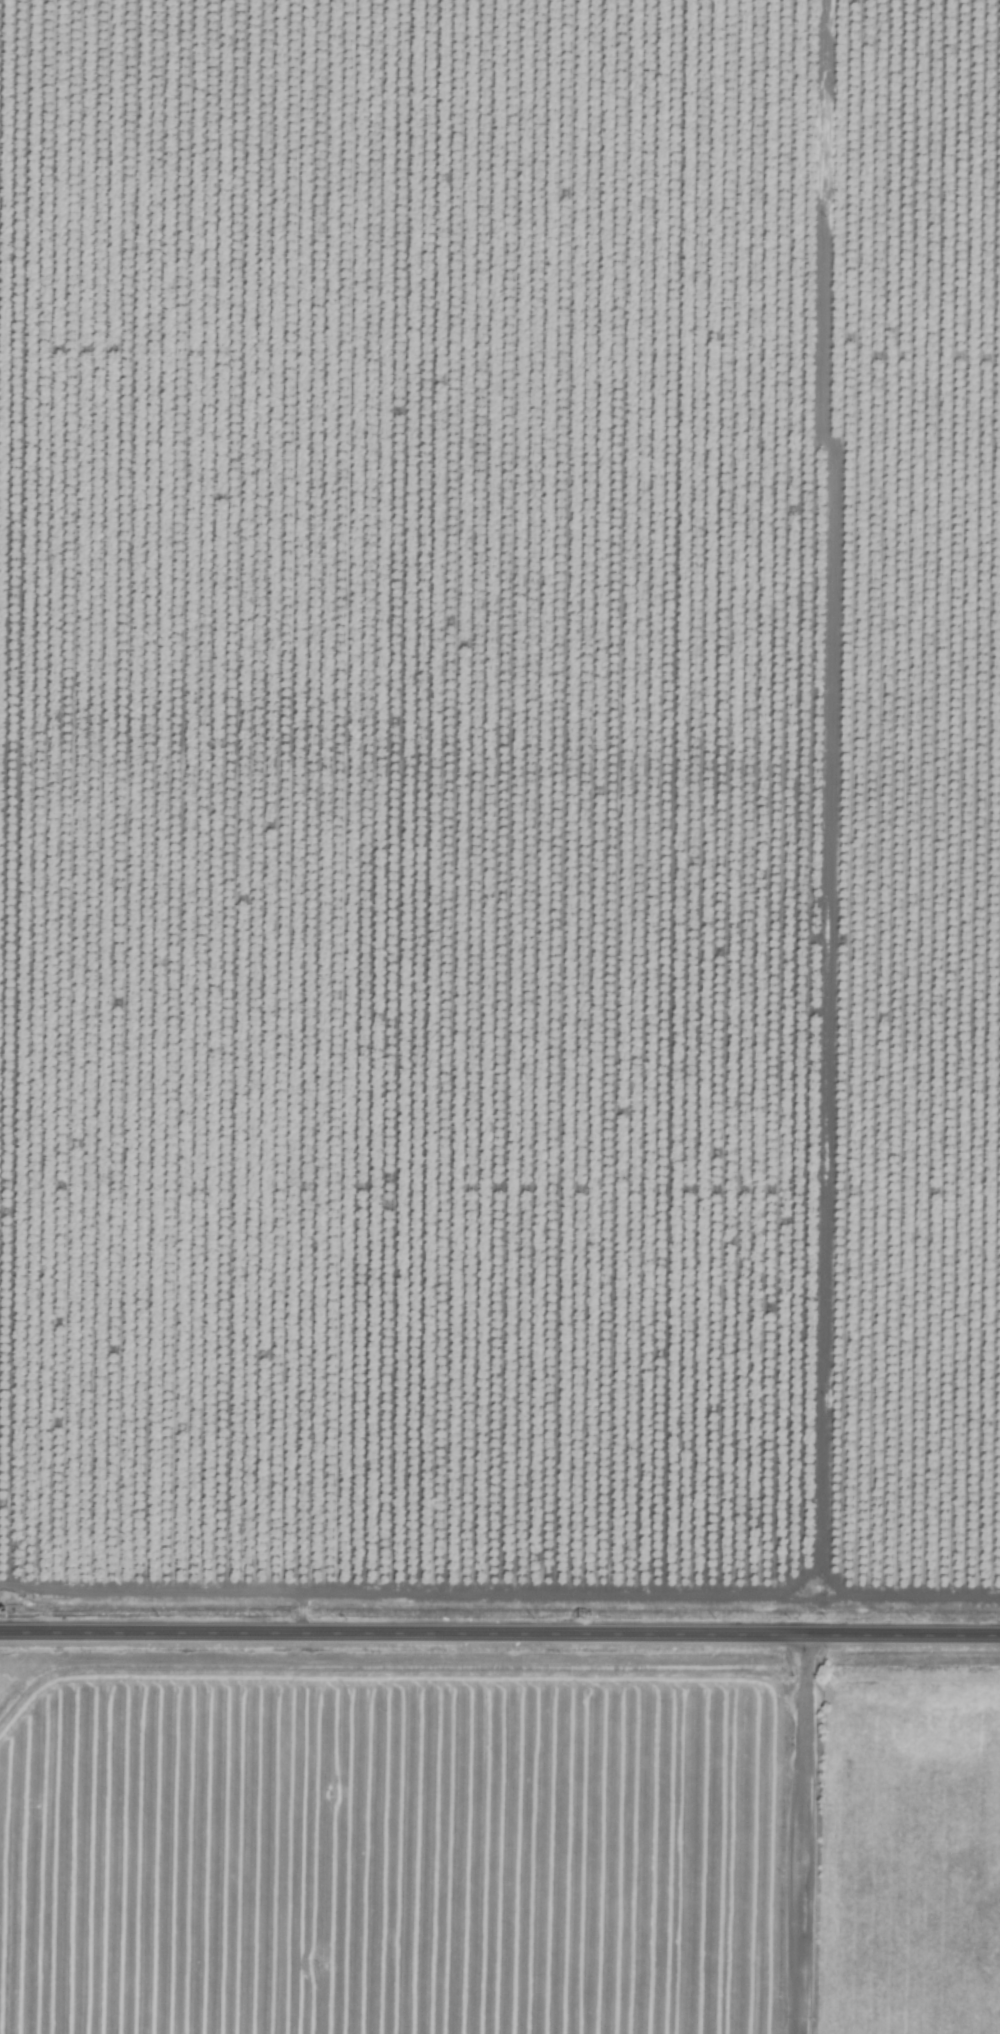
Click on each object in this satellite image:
road: (499, 1621)
road: (801, 1826)

